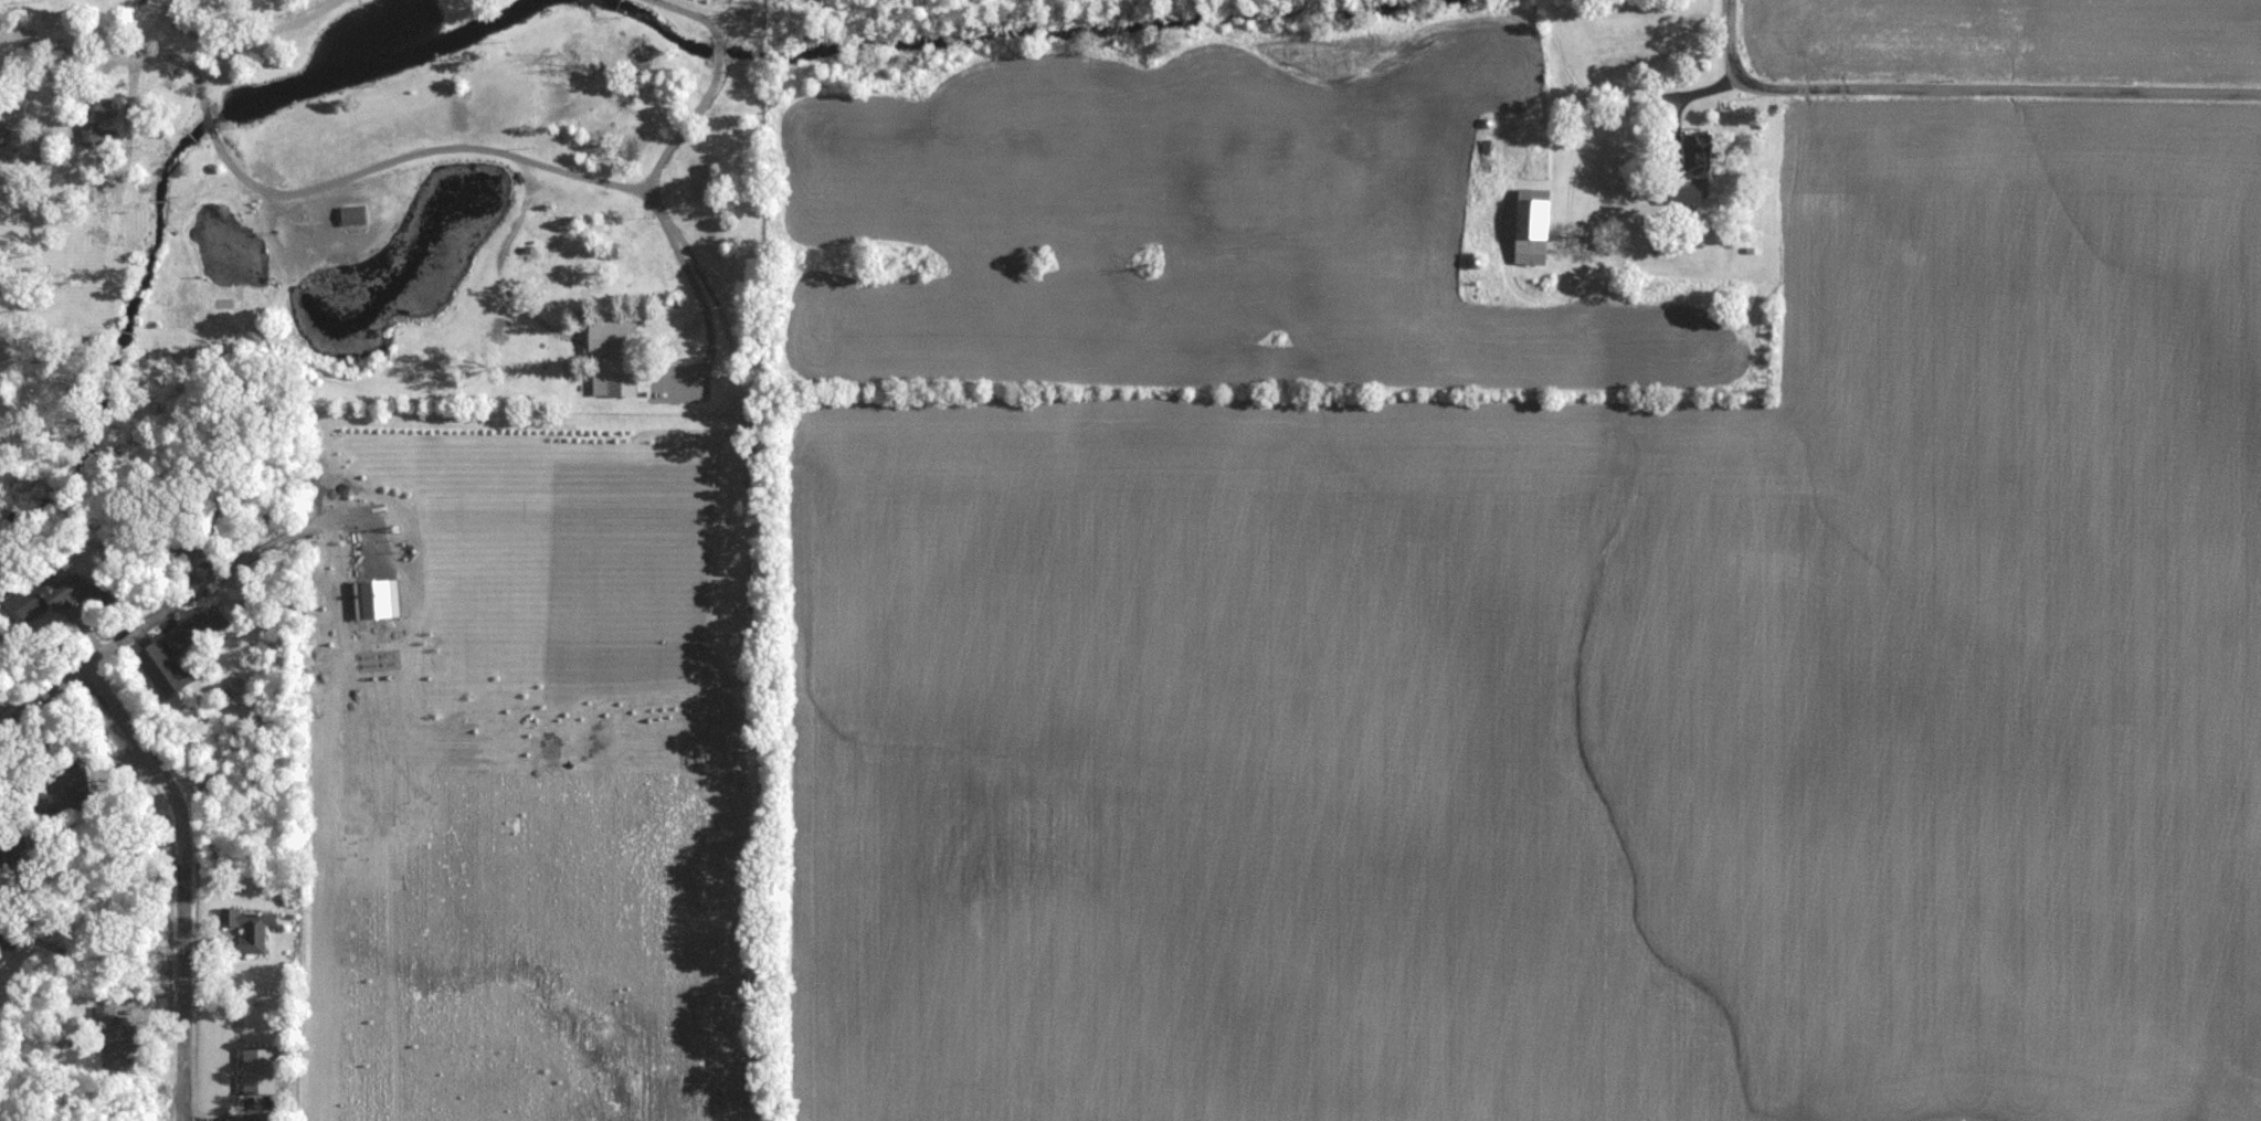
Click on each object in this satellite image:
road: (313, 6)
road: (733, 18)
road: (50, 27)
road: (237, 39)
road: (1732, 39)
road: (57, 49)
building: (638, 52)
road: (46, 80)
road: (133, 80)
road: (714, 84)
road: (1998, 91)
building: (104, 108)
road: (71, 131)
building: (96, 135)
building: (1698, 155)
road: (575, 175)
building: (27, 178)
building: (1684, 194)
road: (522, 210)
building: (355, 215)
road: (109, 216)
building: (1535, 228)
road: (91, 318)
road: (169, 319)
road: (214, 319)
road: (126, 330)
building: (614, 359)
building: (78, 591)
building: (178, 652)
road: (104, 654)
building: (8, 842)
road: (183, 880)
building: (249, 929)
building: (7, 940)

